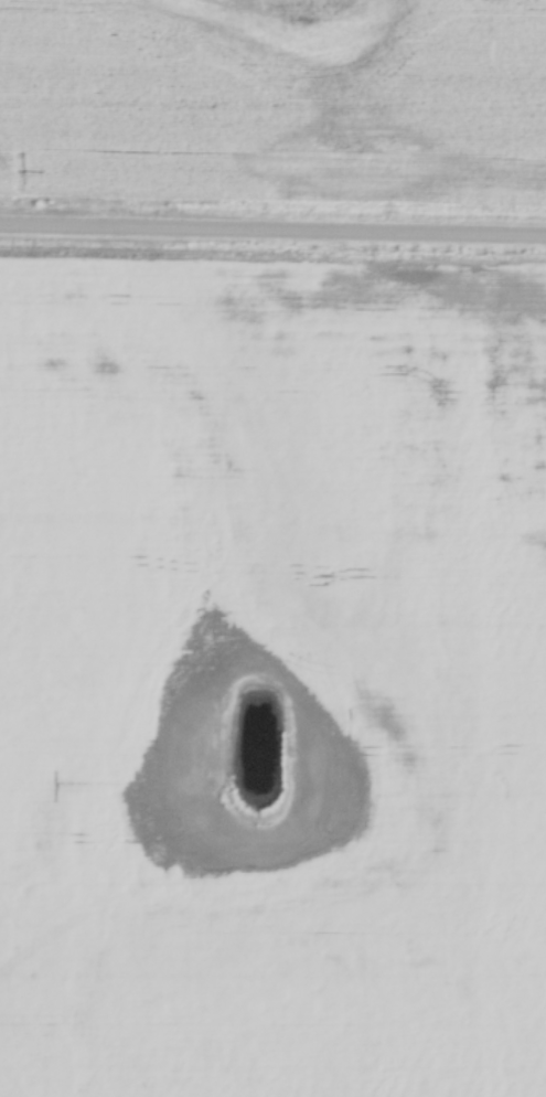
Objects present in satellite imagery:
road: (272, 224)

